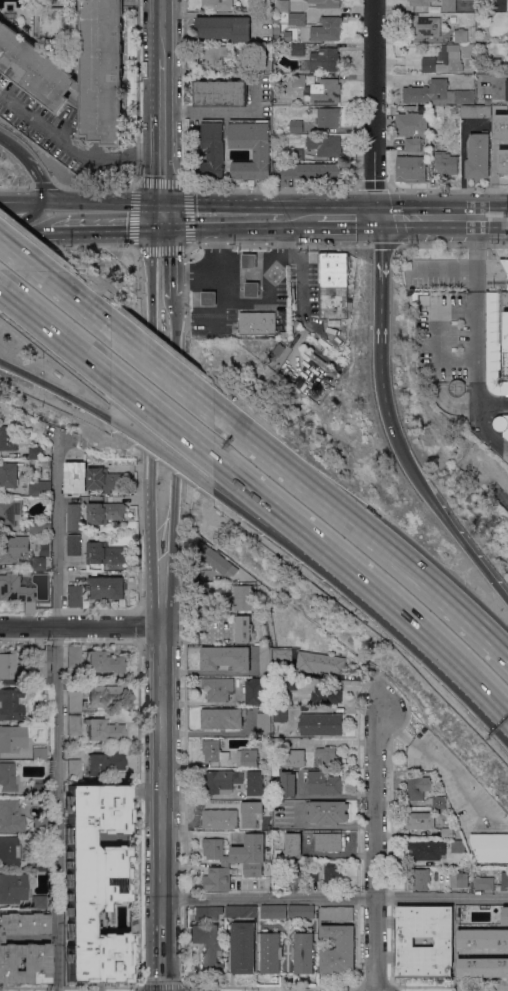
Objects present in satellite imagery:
building: (240, 2)
building: (419, 2)
building: (326, 3)
building: (217, 5)
building: (449, 5)
building: (500, 5)
building: (282, 6)
building: (296, 19)
building: (57, 23)
building: (423, 26)
building: (224, 28)
road: (161, 29)
building: (326, 29)
building: (276, 33)
building: (460, 35)
building: (297, 49)
building: (213, 57)
building: (324, 60)
building: (444, 60)
building: (253, 66)
building: (470, 68)
building: (489, 68)
building: (34, 69)
building: (101, 71)
building: (274, 77)
building: (295, 80)
building: (77, 85)
building: (507, 90)
building: (325, 91)
building: (220, 92)
building: (437, 93)
building: (487, 102)
road: (378, 108)
road: (221, 110)
building: (475, 111)
building: (325, 116)
building: (457, 123)
building: (296, 126)
building: (497, 127)
building: (411, 129)
road: (161, 136)
building: (457, 137)
road: (6, 138)
building: (325, 145)
road: (72, 146)
building: (213, 148)
building: (261, 155)
building: (296, 155)
building: (478, 156)
building: (446, 163)
building: (502, 164)
building: (410, 169)
building: (310, 171)
road: (463, 171)
road: (38, 174)
road: (185, 185)
road: (17, 205)
road: (97, 213)
traffic signals: (160, 213)
road: (221, 215)
road: (300, 216)
road: (348, 216)
traffic signals: (379, 216)
road: (443, 216)
road: (18, 225)
road: (18, 253)
road: (160, 255)
building: (249, 260)
road: (189, 270)
building: (332, 285)
building: (252, 289)
road: (380, 289)
building: (416, 296)
road: (72, 297)
building: (208, 298)
road: (247, 302)
road: (474, 305)
road: (161, 308)
road: (199, 319)
building: (258, 323)
building: (344, 329)
road: (56, 331)
building: (284, 334)
building: (497, 336)
building: (276, 352)
road: (162, 367)
road: (16, 373)
building: (451, 386)
road: (385, 396)
road: (73, 402)
road: (491, 403)
road: (163, 418)
building: (501, 424)
road: (483, 425)
building: (8, 438)
building: (35, 453)
road: (164, 459)
road: (491, 469)
road: (161, 471)
building: (12, 474)
building: (75, 477)
building: (104, 480)
building: (40, 488)
building: (23, 489)
building: (10, 512)
building: (105, 512)
building: (73, 518)
road: (445, 518)
road: (290, 519)
building: (38, 526)
road: (363, 532)
road: (289, 541)
building: (73, 544)
building: (13, 548)
building: (105, 554)
building: (215, 559)
building: (38, 563)
building: (105, 587)
building: (15, 588)
building: (74, 596)
building: (243, 596)
road: (81, 624)
building: (230, 626)
building: (263, 629)
building: (240, 630)
road: (440, 643)
building: (282, 654)
building: (74, 656)
building: (225, 658)
building: (265, 660)
building: (104, 662)
building: (319, 662)
building: (41, 664)
building: (8, 668)
road: (357, 682)
building: (290, 683)
building: (218, 688)
building: (254, 691)
building: (102, 695)
building: (326, 695)
building: (74, 701)
building: (11, 704)
road: (57, 712)
building: (280, 714)
building: (222, 718)
building: (263, 723)
building: (74, 724)
building: (320, 724)
building: (104, 730)
road: (214, 732)
building: (9, 738)
building: (277, 741)
building: (213, 751)
building: (39, 753)
building: (327, 756)
building: (246, 758)
building: (293, 758)
building: (316, 761)
building: (105, 762)
building: (74, 769)
road: (161, 770)
building: (267, 771)
building: (8, 777)
building: (221, 781)
building: (254, 783)
building: (288, 783)
building: (323, 783)
building: (416, 788)
building: (37, 790)
building: (34, 801)
building: (439, 802)
building: (327, 812)
building: (250, 813)
building: (11, 816)
building: (219, 818)
building: (420, 821)
building: (39, 825)
building: (447, 833)
building: (328, 841)
building: (436, 842)
building: (293, 845)
road: (374, 846)
building: (456, 846)
building: (490, 847)
building: (237, 849)
building: (9, 851)
building: (425, 851)
road: (342, 854)
building: (264, 862)
building: (37, 863)
building: (251, 869)
building: (487, 872)
building: (332, 873)
building: (312, 874)
building: (217, 878)
building: (291, 879)
building: (418, 879)
building: (505, 879)
building: (462, 880)
building: (94, 882)
building: (483, 883)
building: (13, 887)
road: (267, 897)
road: (441, 898)
building: (38, 901)
building: (241, 911)
building: (274, 911)
building: (301, 911)
building: (207, 913)
building: (336, 913)
building: (505, 915)
building: (483, 938)
building: (444, 942)
building: (208, 945)
building: (243, 947)
building: (24, 948)
building: (338, 949)
building: (304, 952)
road: (161, 953)
building: (270, 953)
building: (483, 967)
road: (69, 986)
road: (162, 986)
road: (271, 986)
road: (450, 986)
road: (374, 987)

